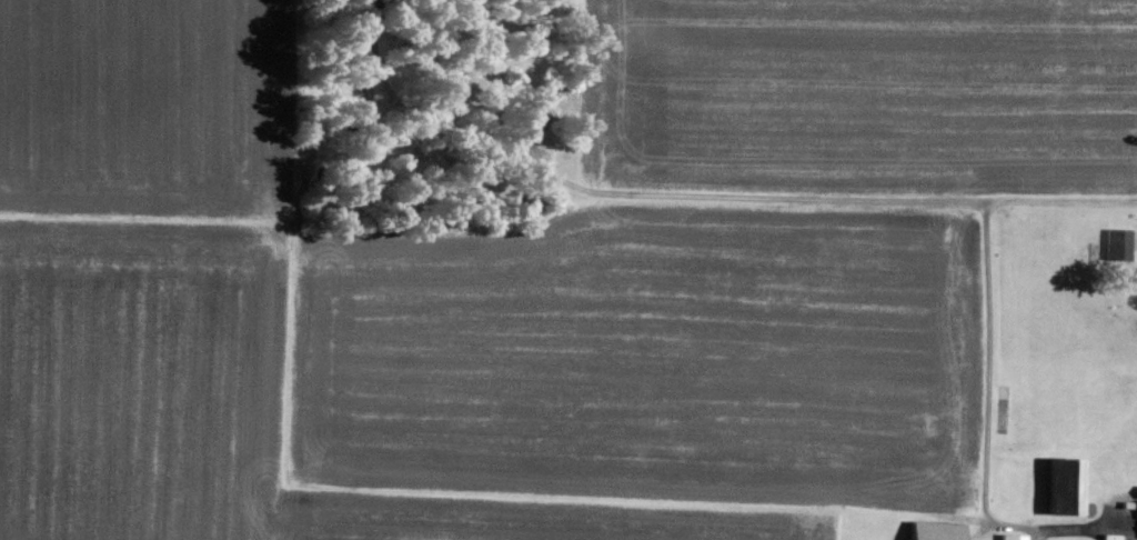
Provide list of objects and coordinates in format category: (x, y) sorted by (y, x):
building: (1119, 243)
road: (988, 359)
building: (1067, 484)
building: (938, 530)
building: (1014, 537)
building: (1060, 539)

